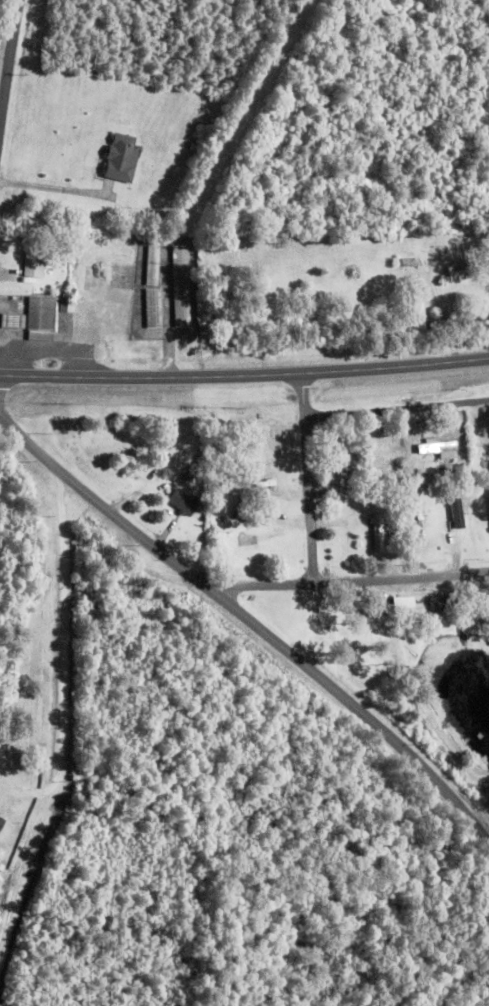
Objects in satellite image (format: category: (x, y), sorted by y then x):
road: (9, 68)
building: (122, 159)
building: (34, 264)
building: (154, 266)
building: (459, 272)
building: (183, 287)
building: (418, 306)
building: (154, 309)
building: (42, 318)
building: (11, 322)
road: (244, 375)
road: (398, 408)
building: (343, 450)
building: (439, 450)
building: (462, 471)
road: (310, 476)
building: (184, 503)
building: (458, 514)
building: (380, 534)
road: (350, 579)
building: (435, 605)
building: (409, 608)
road: (249, 620)
building: (1, 823)

